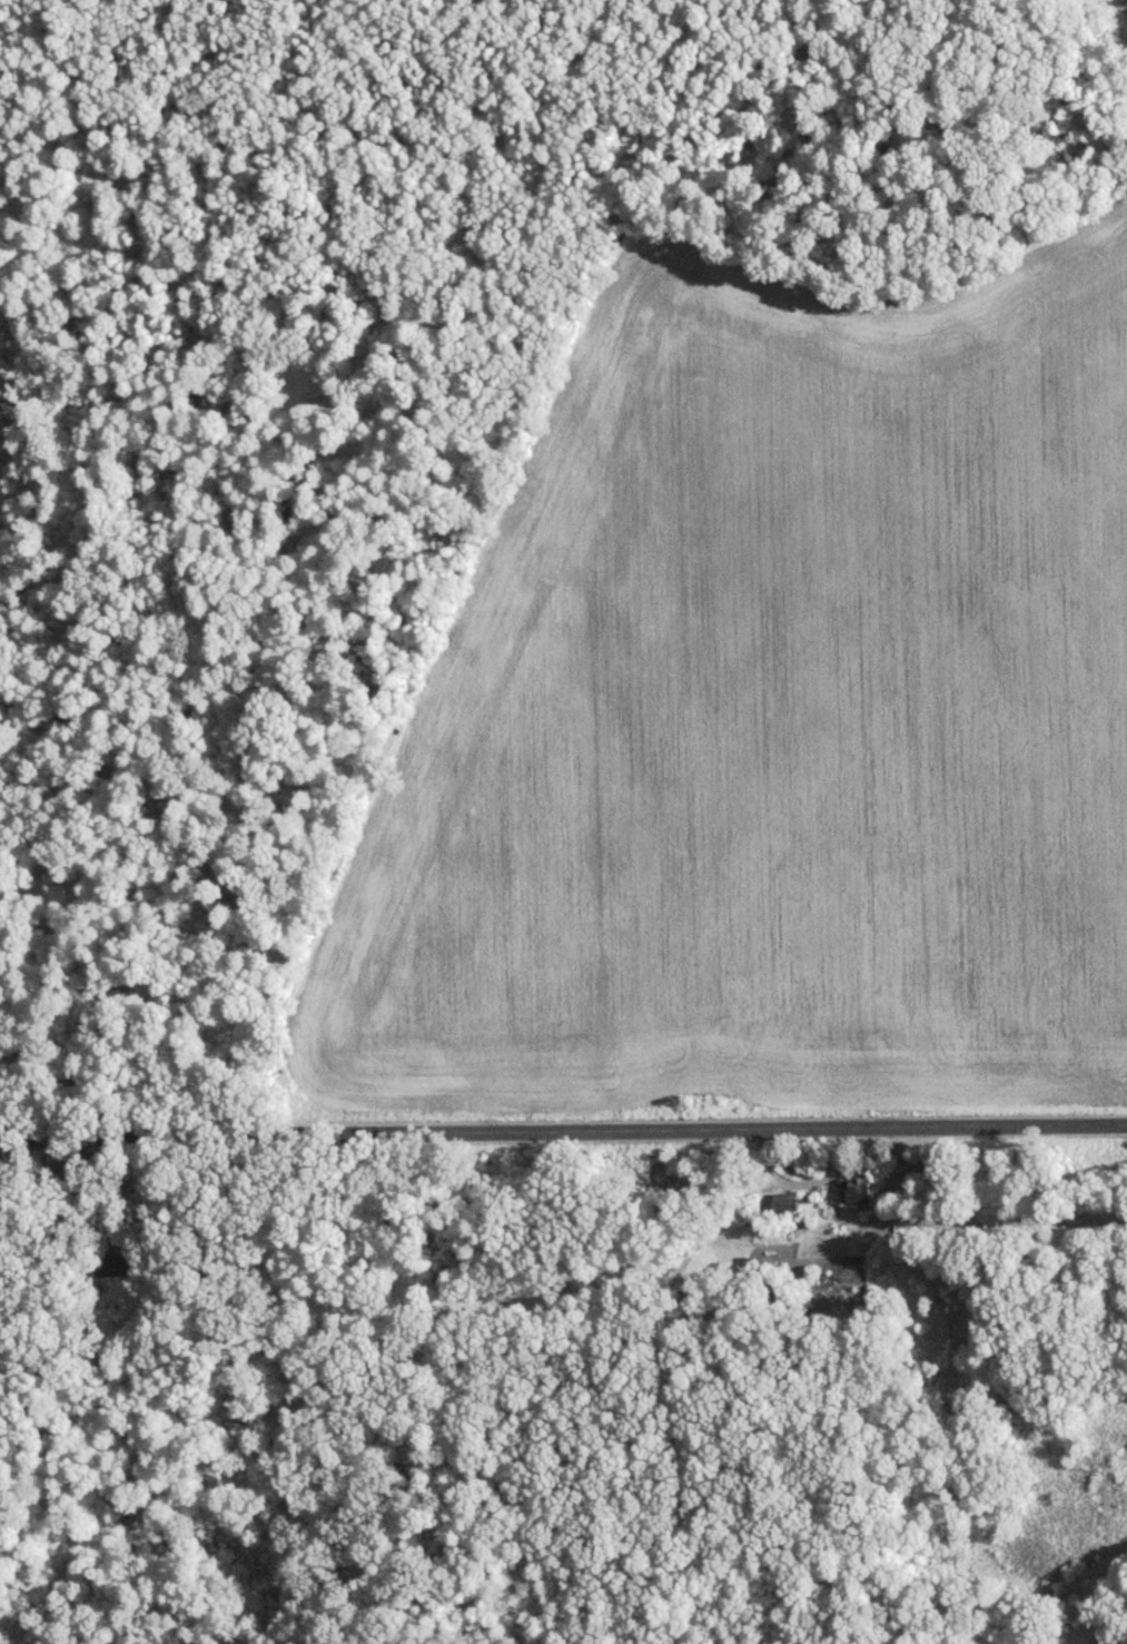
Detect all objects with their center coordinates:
road: (563, 1133)
building: (860, 1191)
building: (788, 1202)
building: (121, 1263)
road: (672, 1376)

